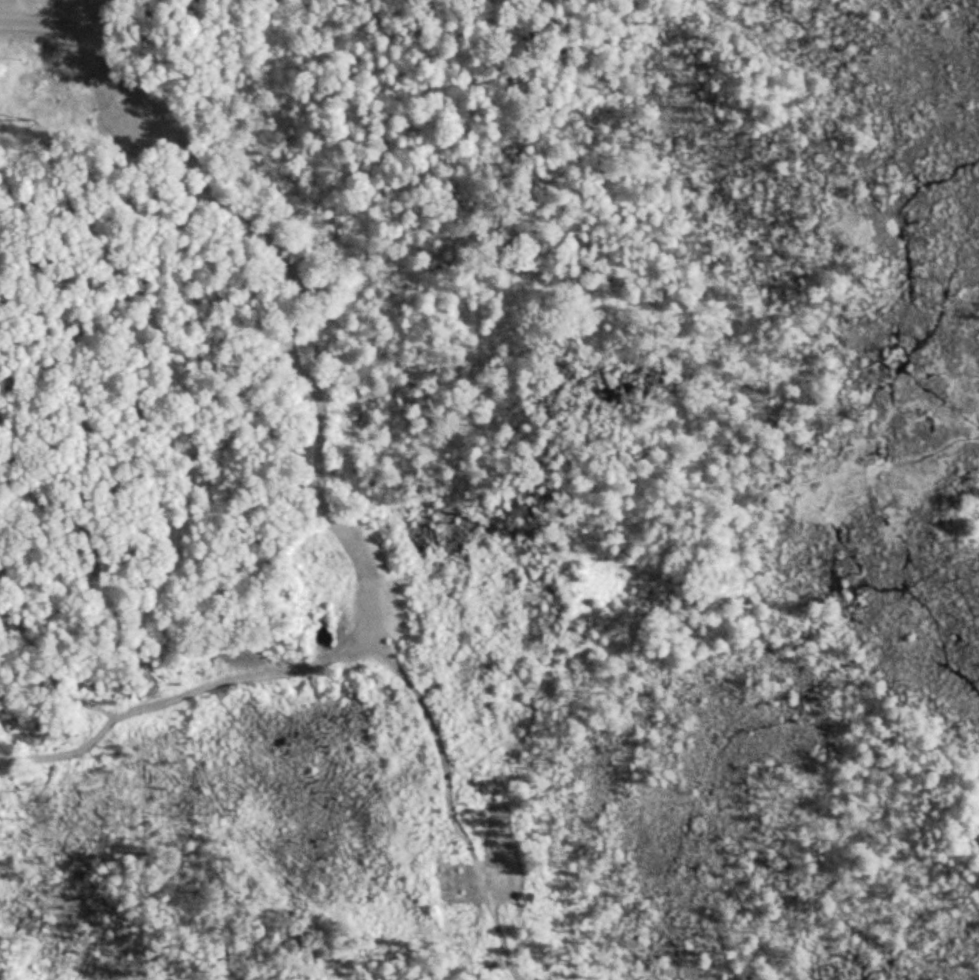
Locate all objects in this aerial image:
road: (59, 29)

